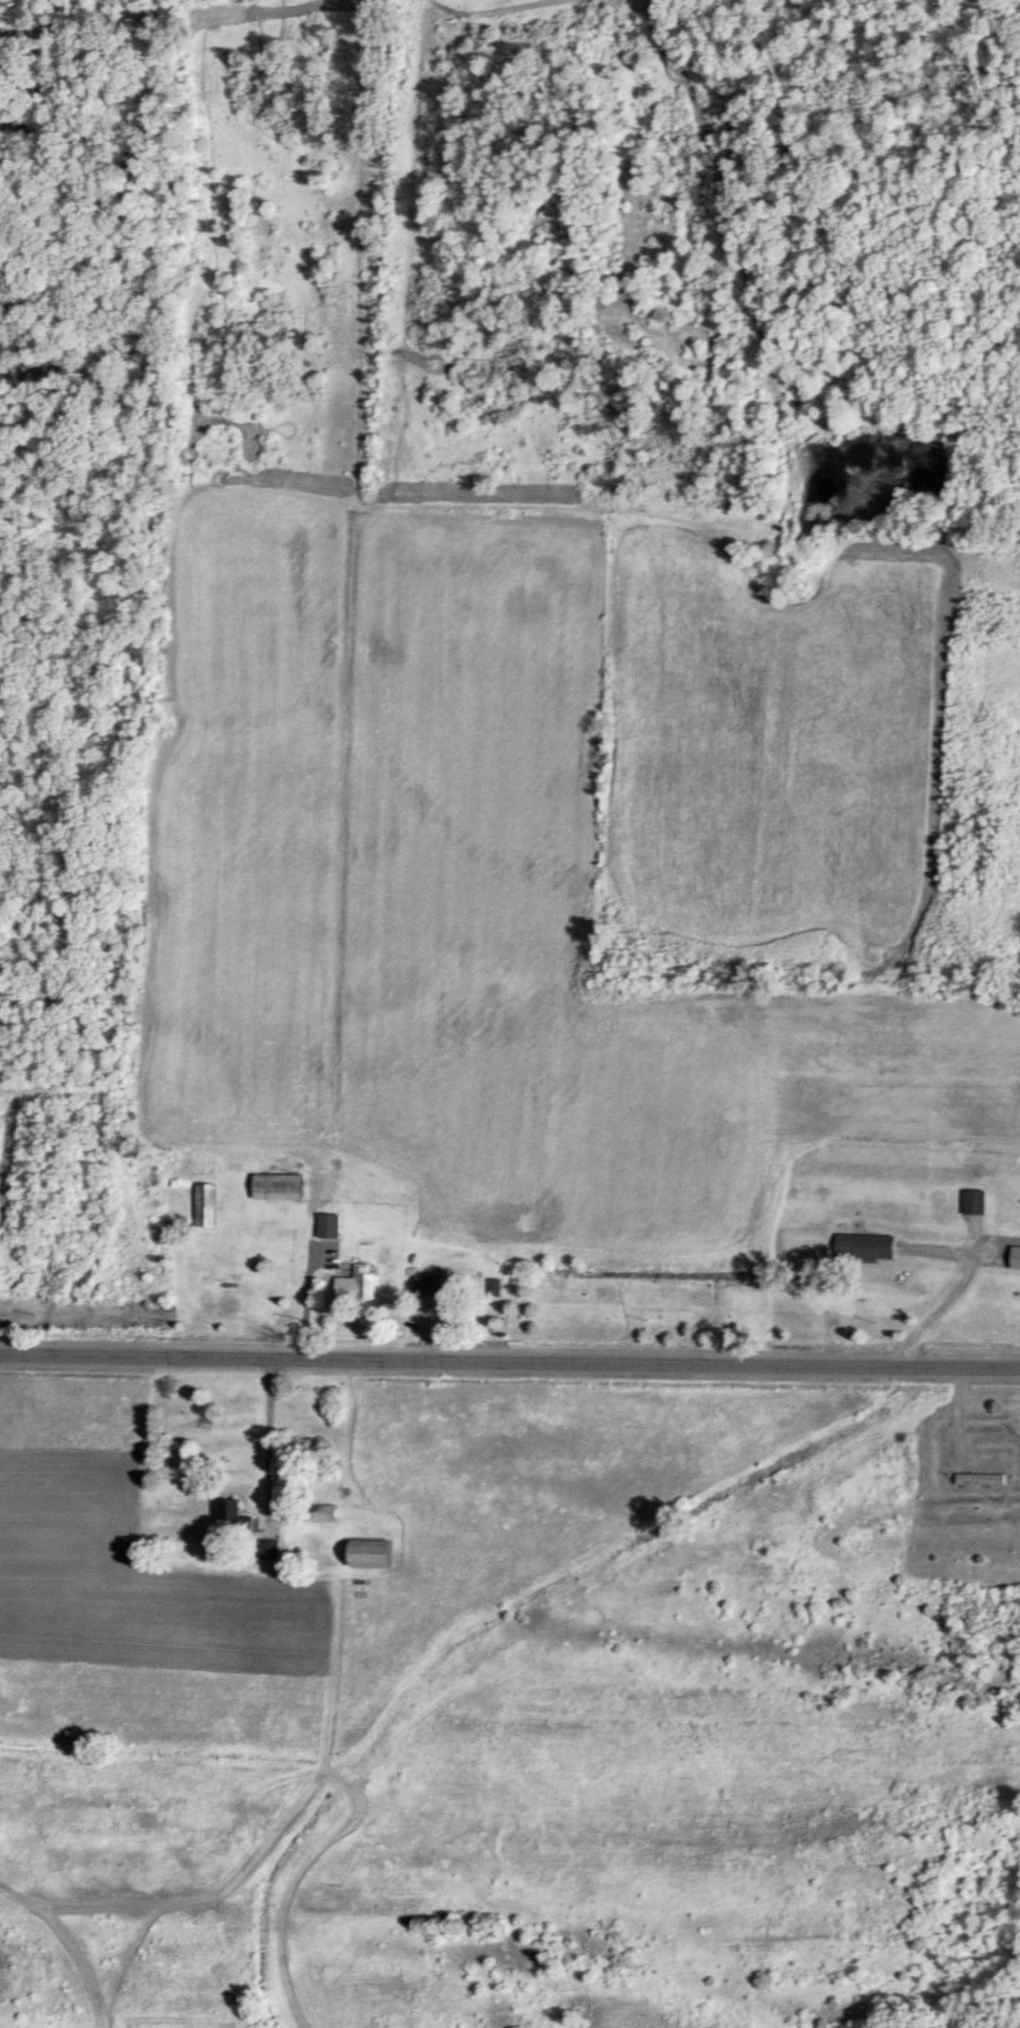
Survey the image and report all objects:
building: (273, 1186)
building: (971, 1200)
building: (202, 1205)
building: (326, 1224)
building: (861, 1246)
building: (425, 1283)
building: (340, 1286)
building: (492, 1286)
road: (951, 1293)
road: (301, 1301)
road: (510, 1361)
building: (976, 1477)
building: (315, 1511)
building: (229, 1515)
building: (162, 1533)
building: (363, 1553)

